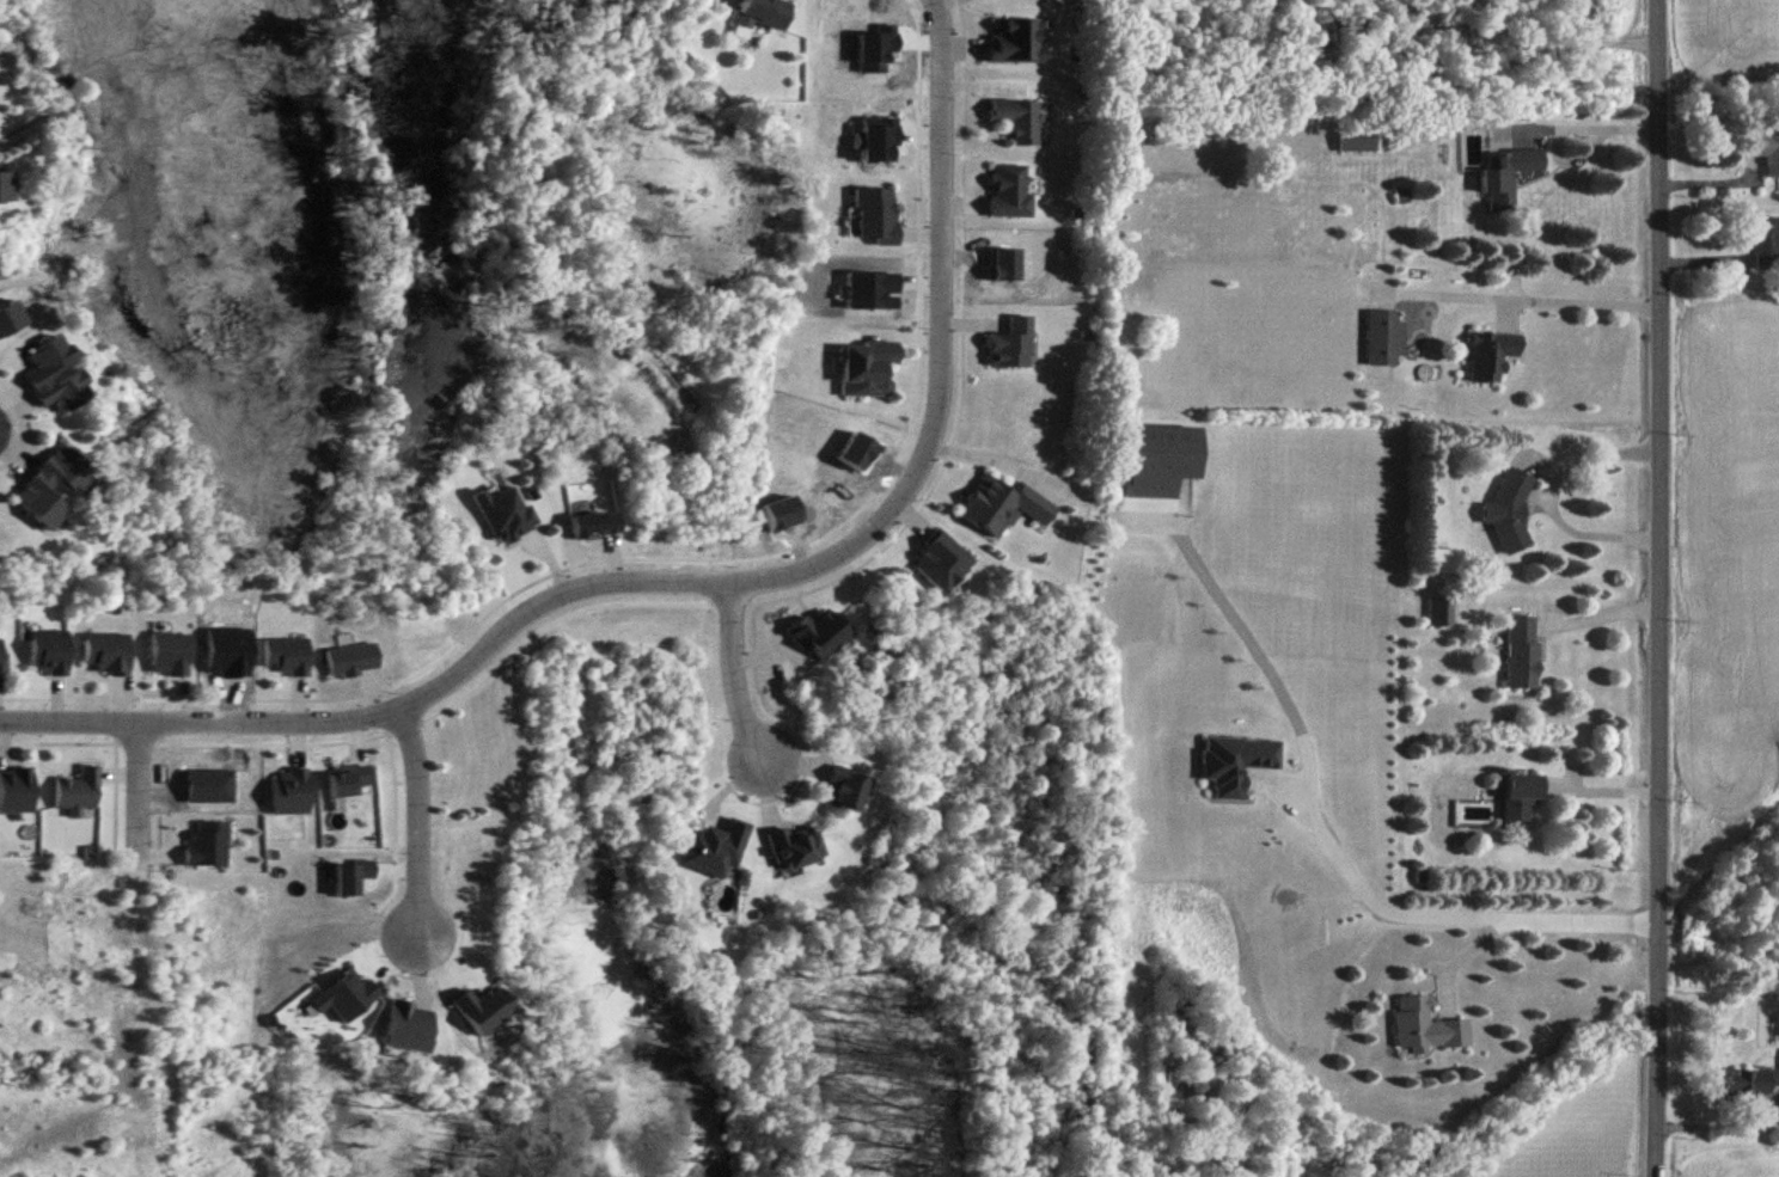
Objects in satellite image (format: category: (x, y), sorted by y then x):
building: (768, 12)
road: (1570, 31)
building: (1017, 42)
building: (1019, 119)
road: (1561, 123)
building: (1358, 140)
building: (1763, 152)
building: (1508, 174)
building: (7, 189)
building: (1010, 192)
building: (876, 215)
building: (1765, 243)
road: (1581, 301)
building: (1386, 336)
building: (1011, 344)
building: (1492, 354)
building: (868, 367)
building: (65, 392)
road: (1, 419)
building: (1162, 459)
building: (56, 484)
building: (1004, 505)
building: (1511, 507)
building: (506, 514)
road: (1592, 535)
road: (1170, 540)
building: (942, 563)
road: (695, 578)
road: (1659, 588)
building: (1441, 611)
road: (1596, 611)
building: (820, 635)
building: (1522, 651)
building: (49, 652)
building: (108, 652)
building: (170, 654)
building: (287, 656)
building: (351, 660)
building: (2, 661)
road: (732, 674)
building: (349, 780)
building: (849, 789)
building: (16, 790)
building: (78, 791)
building: (289, 792)
building: (1521, 795)
road: (137, 802)
road: (414, 820)
building: (207, 844)
building: (795, 846)
building: (716, 847)
road: (1432, 908)
building: (409, 1026)
building: (1428, 1026)
building: (1749, 1081)

